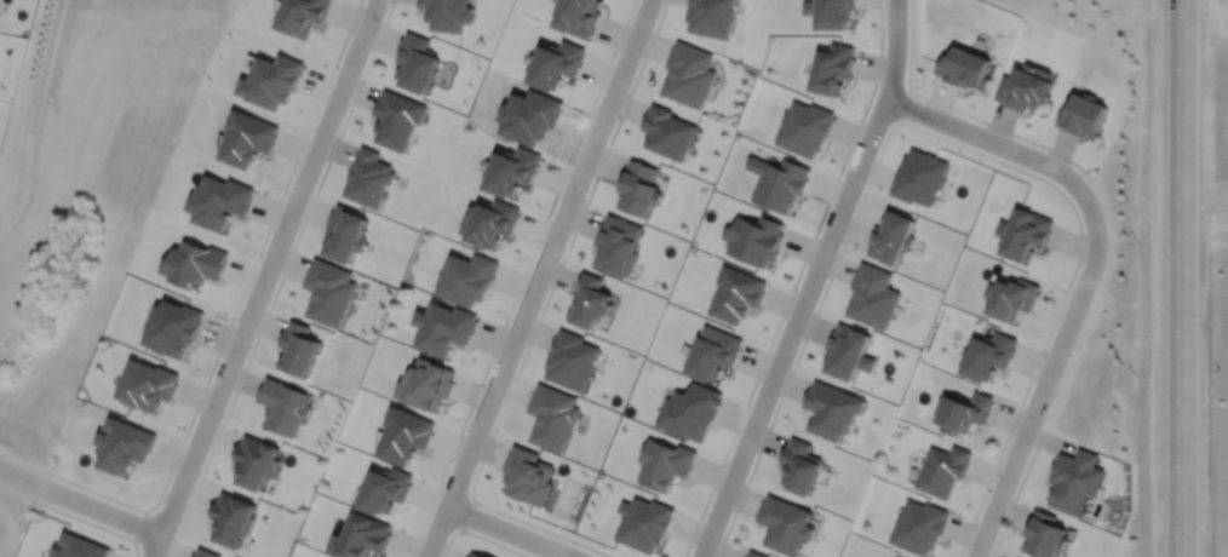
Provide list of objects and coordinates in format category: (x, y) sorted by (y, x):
road: (1218, 1)
building: (831, 11)
building: (448, 13)
building: (305, 15)
building: (580, 15)
building: (712, 16)
building: (417, 61)
building: (558, 62)
building: (965, 65)
building: (833, 67)
building: (689, 73)
building: (274, 80)
building: (1027, 85)
road: (905, 105)
road: (962, 113)
building: (1084, 113)
building: (396, 119)
building: (805, 126)
building: (667, 131)
building: (248, 137)
road: (945, 138)
building: (515, 170)
building: (920, 176)
building: (369, 177)
building: (781, 183)
building: (639, 186)
building: (220, 200)
building: (493, 222)
building: (1026, 234)
building: (894, 236)
building: (756, 239)
building: (616, 245)
road: (1089, 274)
building: (470, 277)
road: (521, 277)
road: (263, 278)
road: (279, 278)
road: (536, 278)
road: (1180, 278)
road: (793, 281)
road: (810, 281)
building: (329, 291)
building: (736, 294)
building: (874, 295)
building: (1012, 297)
building: (590, 300)
road: (234, 308)
road: (536, 320)
building: (174, 328)
building: (446, 328)
building: (299, 348)
building: (850, 352)
building: (713, 354)
building: (991, 356)
building: (570, 361)
building: (148, 385)
building: (429, 385)
building: (285, 406)
building: (833, 409)
building: (690, 412)
building: (966, 413)
building: (551, 417)
building: (406, 435)
building: (124, 444)
building: (256, 463)
building: (665, 464)
building: (802, 467)
building: (945, 470)
building: (527, 477)
building: (1075, 481)
building: (388, 490)
road: (79, 500)
road: (465, 513)
road: (74, 515)
building: (233, 521)
building: (644, 523)
building: (787, 526)
building: (919, 527)
road: (10, 529)
road: (507, 532)
road: (478, 535)
building: (1044, 535)
building: (363, 538)
building: (80, 547)
building: (754, 552)
building: (206, 553)
building: (478, 553)
building: (895, 556)

